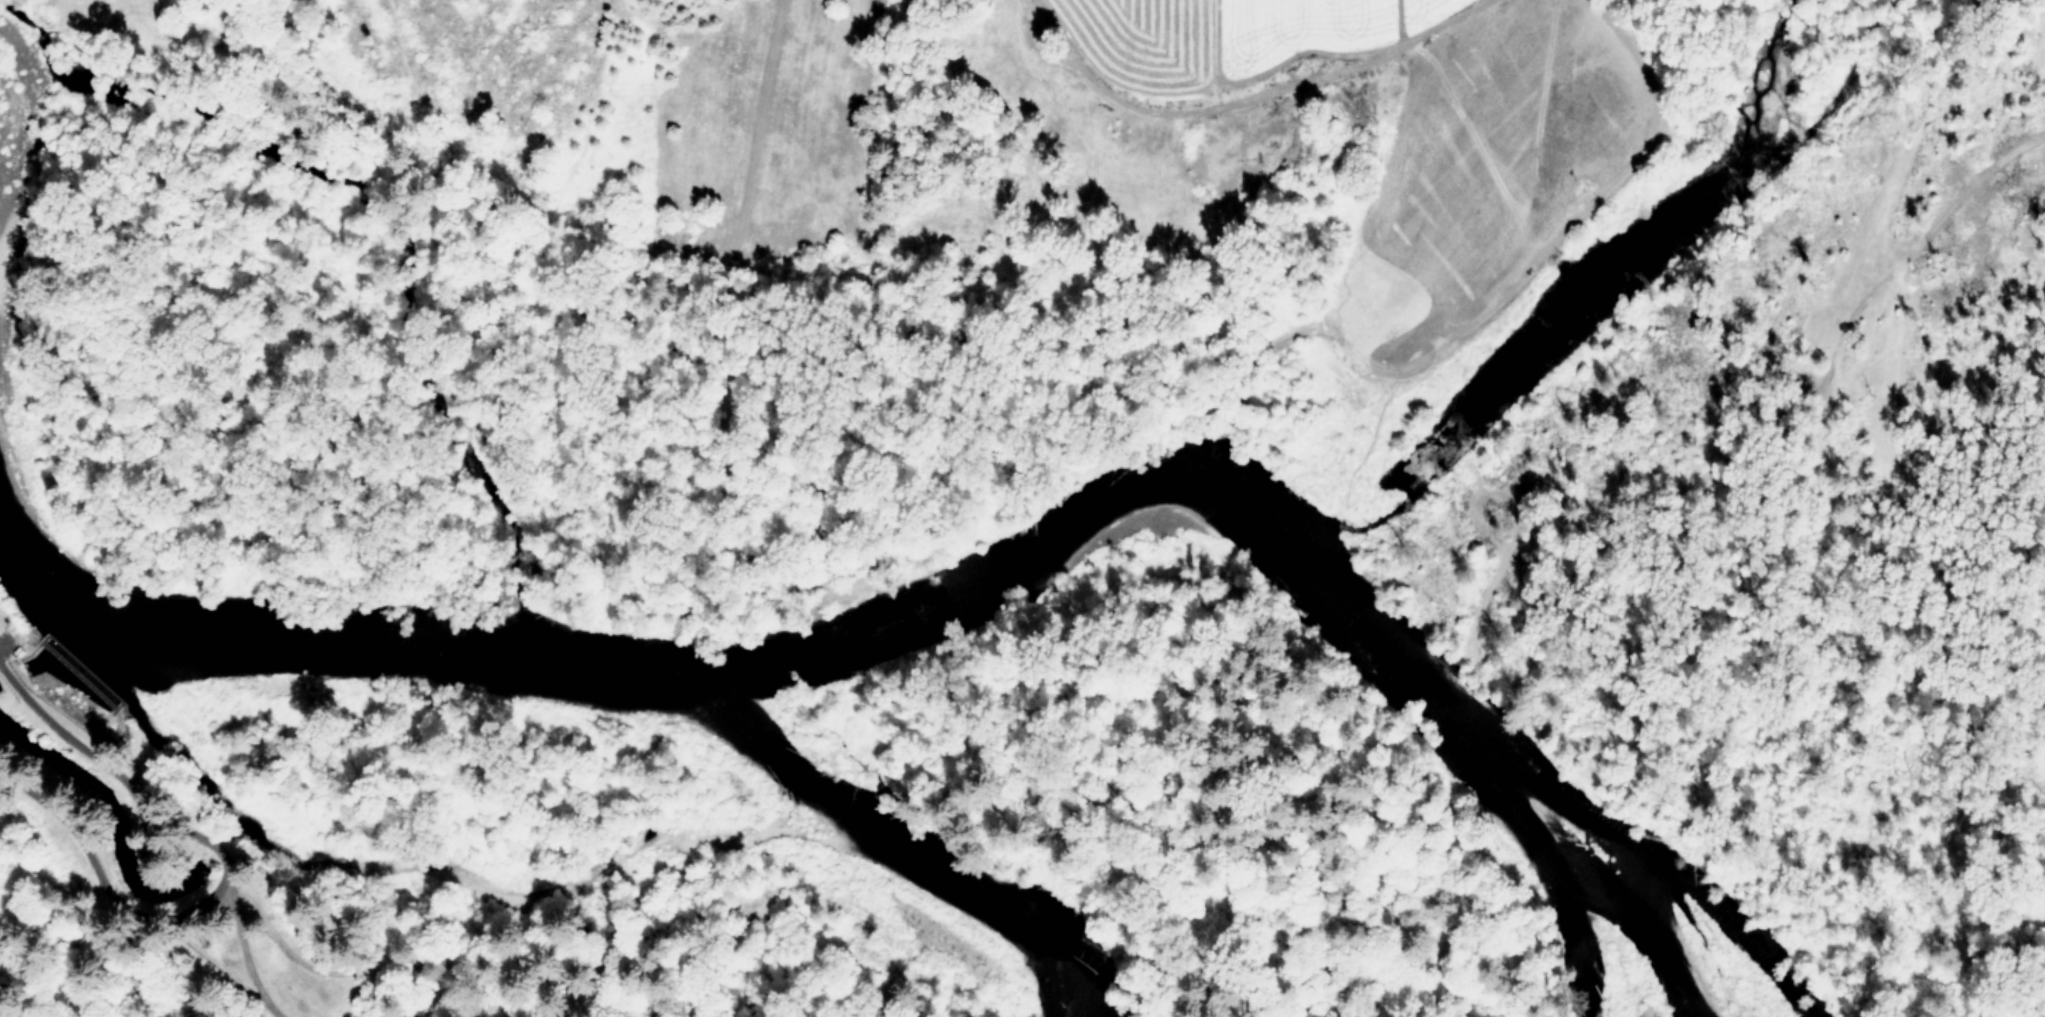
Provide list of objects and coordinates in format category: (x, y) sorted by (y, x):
crop: (1275, 32)
road: (173, 821)
road: (122, 903)

